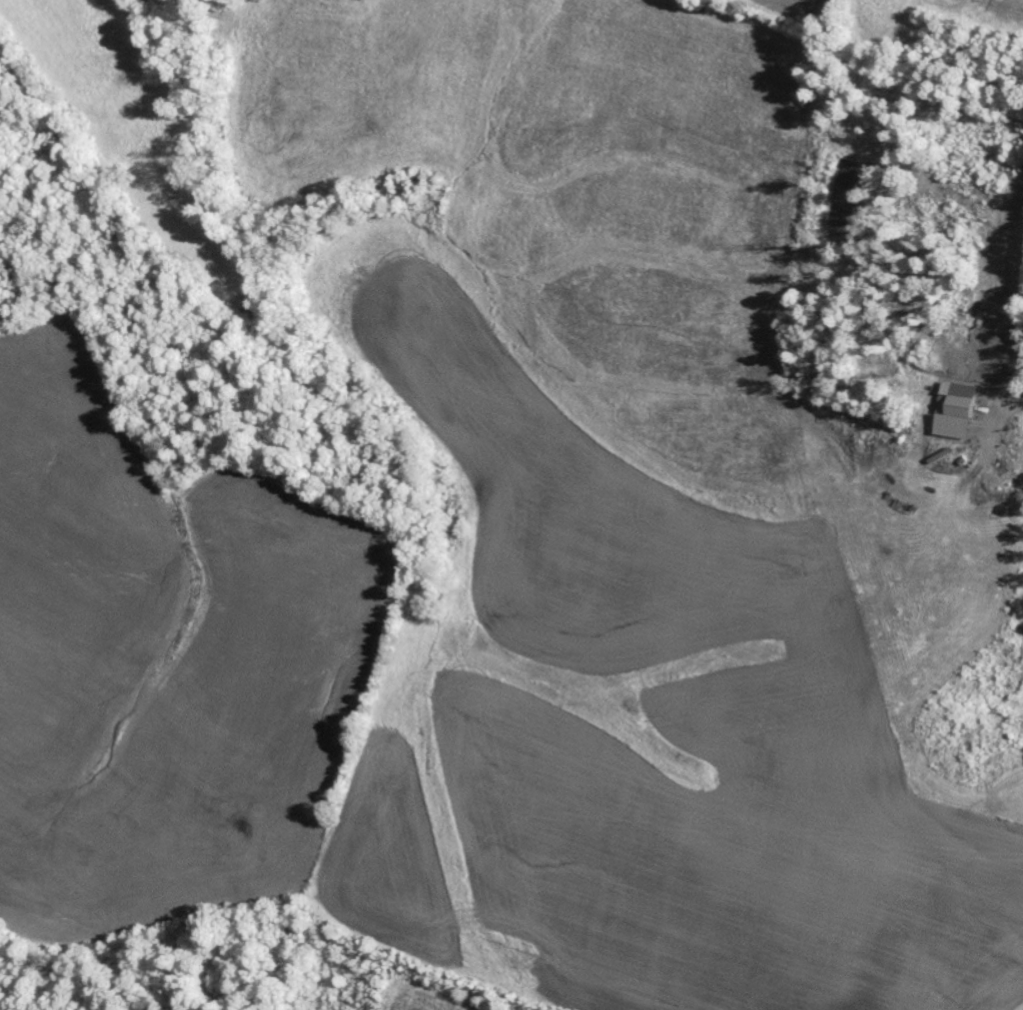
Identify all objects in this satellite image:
building: (955, 411)

